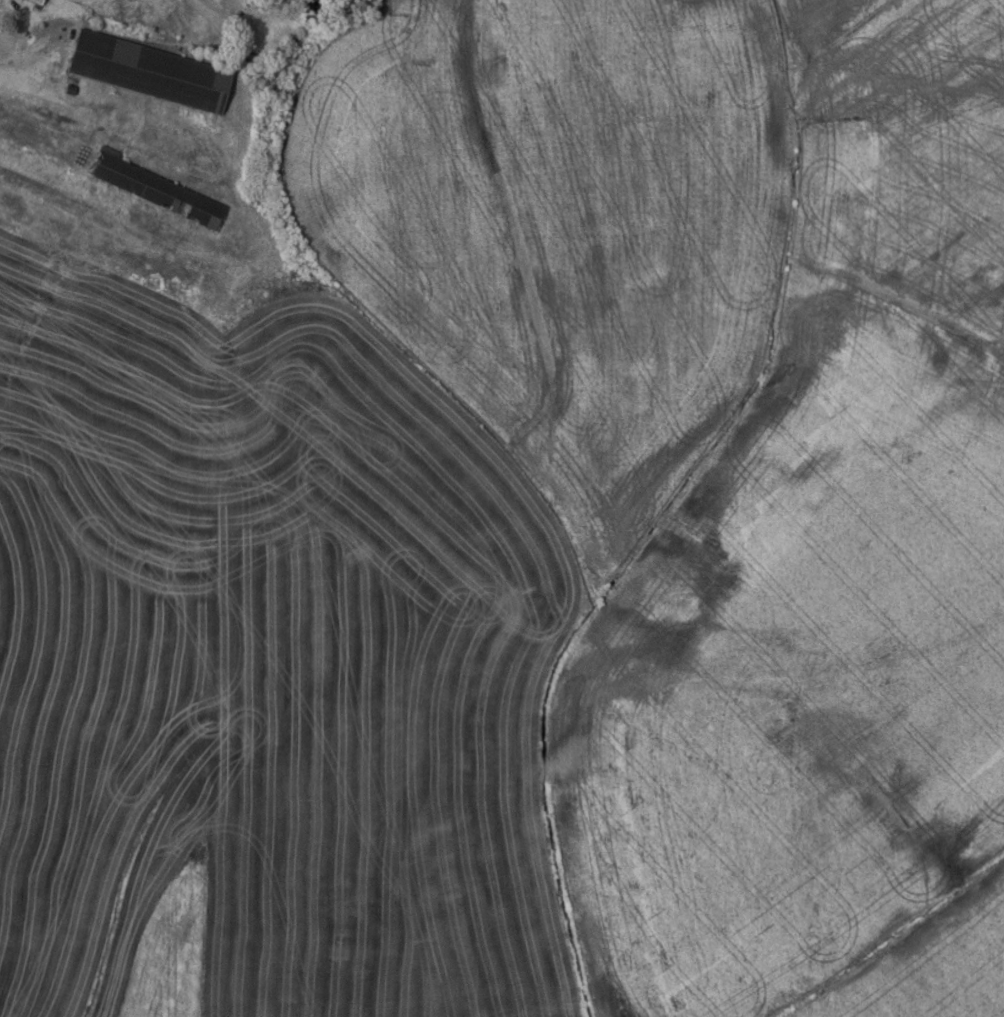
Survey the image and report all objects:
building: (38, 2)
building: (129, 12)
building: (151, 72)
building: (70, 90)
building: (155, 189)
building: (100, 239)
crop: (534, 542)

